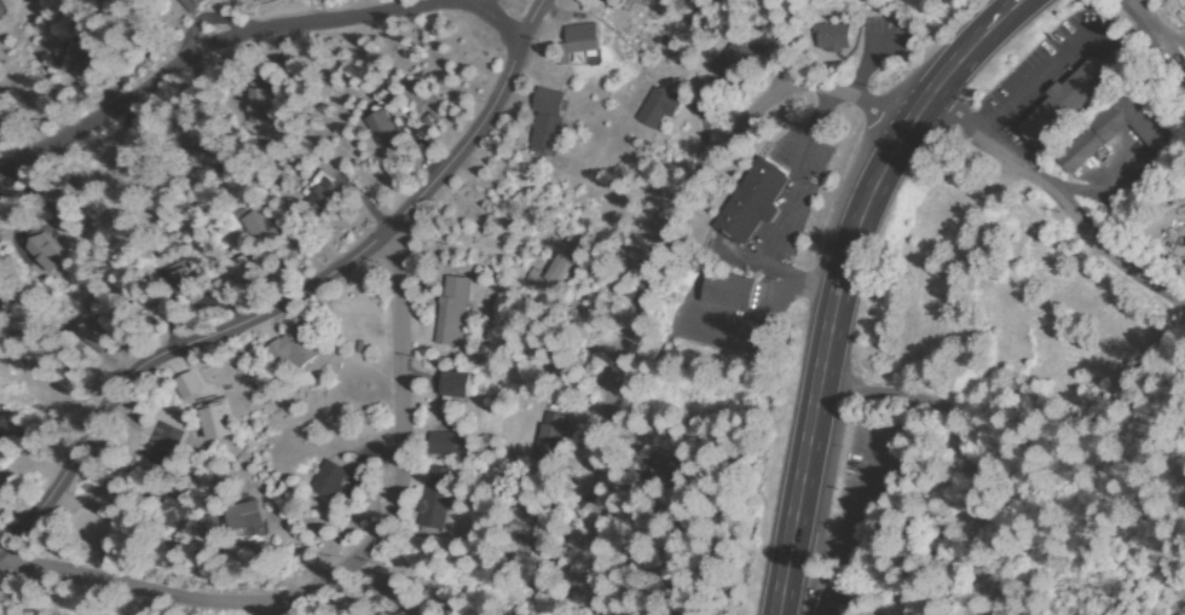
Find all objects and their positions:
road: (449, 1)
building: (190, 4)
building: (622, 4)
building: (1, 14)
road: (250, 35)
building: (832, 37)
building: (577, 41)
building: (91, 60)
building: (734, 62)
building: (1066, 103)
building: (259, 104)
building: (655, 109)
road: (952, 114)
building: (547, 121)
building: (381, 124)
building: (1156, 126)
building: (207, 153)
building: (324, 198)
building: (752, 202)
road: (1077, 214)
building: (258, 225)
building: (46, 250)
building: (1140, 250)
road: (661, 267)
building: (557, 269)
building: (243, 273)
road: (845, 280)
building: (181, 283)
building: (730, 290)
building: (4, 292)
road: (924, 295)
road: (295, 298)
building: (452, 311)
building: (93, 335)
building: (293, 350)
building: (1175, 373)
building: (456, 384)
building: (187, 385)
building: (221, 428)
building: (553, 435)
building: (6, 440)
building: (451, 443)
road: (963, 448)
building: (163, 454)
building: (664, 465)
building: (328, 482)
building: (435, 500)
building: (170, 510)
building: (244, 521)
building: (207, 527)
building: (528, 529)
road: (346, 568)
building: (848, 601)
road: (291, 611)
building: (406, 613)

